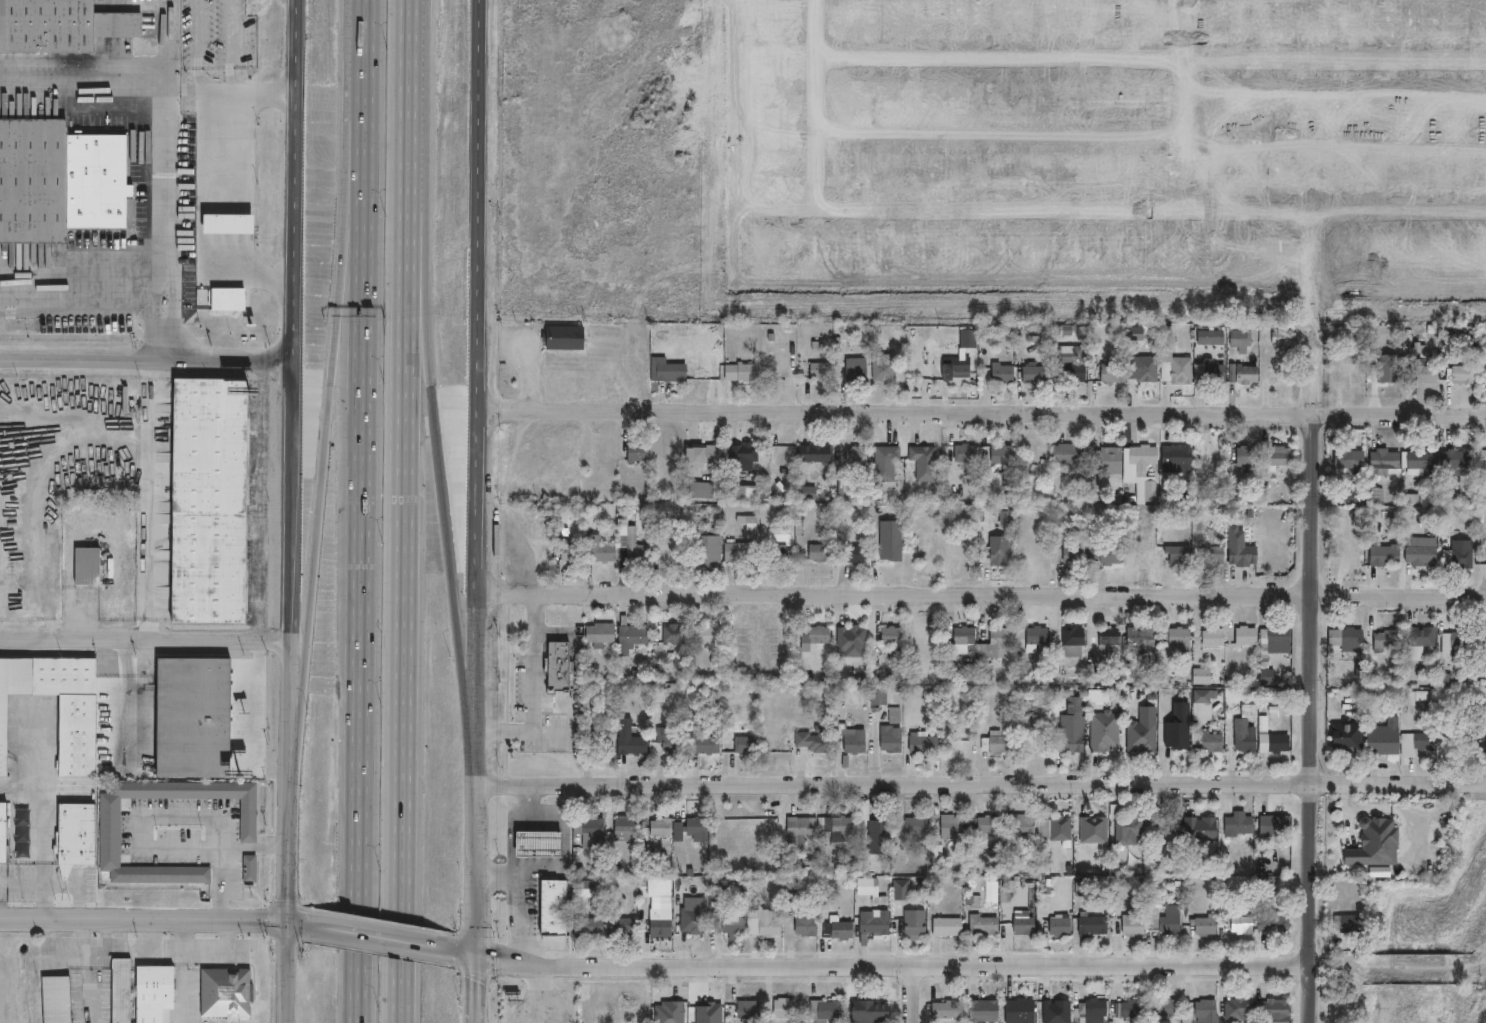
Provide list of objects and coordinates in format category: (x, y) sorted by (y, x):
road: (367, 19)
building: (60, 27)
road: (168, 39)
road: (416, 81)
road: (206, 89)
road: (168, 96)
road: (299, 145)
building: (59, 180)
road: (202, 195)
road: (80, 283)
road: (163, 324)
road: (298, 328)
building: (567, 338)
building: (969, 338)
building: (1213, 338)
building: (1241, 340)
road: (482, 360)
road: (149, 364)
building: (1076, 364)
building: (886, 366)
building: (1177, 368)
building: (957, 369)
building: (858, 370)
building: (672, 371)
building: (823, 371)
building: (743, 372)
building: (1149, 372)
building: (1212, 372)
building: (1113, 373)
building: (1281, 373)
building: (1005, 374)
building: (1035, 374)
building: (1250, 374)
building: (1393, 374)
building: (1429, 374)
building: (1352, 375)
building: (1463, 375)
road: (983, 411)
road: (281, 412)
road: (330, 418)
road: (438, 442)
building: (601, 452)
building: (640, 452)
building: (746, 453)
building: (967, 453)
building: (1071, 453)
building: (817, 454)
building: (707, 455)
building: (858, 455)
building: (1005, 455)
building: (1249, 455)
building: (1283, 456)
building: (1179, 459)
building: (1352, 459)
building: (1456, 459)
building: (1107, 461)
building: (1424, 462)
building: (888, 463)
building: (926, 463)
building: (1387, 463)
building: (1143, 472)
road: (35, 489)
building: (703, 490)
building: (809, 493)
building: (1376, 495)
building: (1354, 496)
building: (207, 501)
road: (264, 501)
road: (148, 511)
road: (364, 530)
building: (890, 540)
building: (637, 548)
building: (671, 548)
building: (706, 549)
building: (570, 550)
building: (600, 550)
building: (742, 552)
building: (781, 553)
building: (821, 553)
building: (1422, 553)
building: (858, 554)
building: (1108, 554)
building: (1000, 555)
building: (1215, 555)
building: (1246, 555)
building: (1076, 556)
building: (1388, 556)
building: (1182, 557)
building: (1459, 557)
building: (85, 566)
road: (292, 581)
road: (411, 593)
road: (981, 593)
building: (7, 597)
building: (1484, 631)
building: (605, 634)
building: (675, 635)
building: (632, 636)
building: (894, 636)
building: (967, 636)
building: (1039, 636)
building: (1249, 636)
building: (708, 637)
building: (857, 637)
building: (1111, 637)
building: (1142, 637)
building: (1277, 637)
building: (817, 638)
building: (1179, 638)
building: (1215, 638)
road: (144, 639)
building: (1350, 640)
building: (1389, 641)
building: (1075, 643)
building: (1422, 643)
building: (1460, 643)
building: (999, 645)
building: (561, 668)
building: (662, 674)
building: (1204, 677)
building: (1269, 677)
road: (532, 686)
road: (131, 691)
building: (840, 694)
road: (263, 696)
building: (1203, 696)
building: (879, 699)
building: (1152, 714)
building: (896, 716)
building: (192, 718)
road: (1311, 718)
building: (1074, 722)
building: (1106, 732)
building: (1179, 734)
building: (75, 736)
building: (1042, 736)
building: (852, 738)
building: (632, 739)
building: (1351, 739)
building: (815, 740)
building: (893, 740)
building: (1147, 740)
building: (1385, 740)
building: (672, 741)
building: (1249, 741)
building: (1482, 741)
building: (707, 742)
building: (1214, 742)
building: (999, 743)
building: (603, 744)
building: (926, 744)
building: (1070, 744)
building: (1281, 744)
building: (1421, 744)
building: (746, 745)
road: (40, 746)
road: (980, 783)
road: (20, 791)
building: (865, 811)
road: (137, 816)
building: (107, 817)
road: (514, 822)
building: (1023, 825)
building: (1172, 825)
building: (1276, 825)
building: (626, 826)
building: (837, 827)
building: (1240, 827)
building: (662, 828)
building: (954, 828)
building: (989, 828)
building: (1063, 828)
building: (592, 829)
building: (700, 829)
building: (801, 829)
building: (915, 829)
building: (1205, 829)
building: (1131, 830)
building: (1095, 831)
building: (2, 833)
building: (23, 833)
building: (881, 836)
building: (73, 838)
road: (477, 838)
building: (1377, 843)
building: (539, 844)
gas station: (539, 844)
road: (254, 848)
road: (563, 854)
road: (41, 855)
road: (288, 859)
building: (247, 869)
road: (21, 882)
road: (81, 882)
building: (1269, 883)
road: (221, 884)
building: (794, 887)
building: (664, 889)
building: (872, 889)
building: (901, 889)
building: (590, 890)
building: (727, 891)
road: (514, 900)
building: (619, 903)
building: (552, 907)
road: (143, 919)
traffic signals: (287, 920)
road: (299, 921)
building: (695, 921)
building: (807, 922)
building: (1169, 922)
building: (1275, 923)
building: (916, 924)
building: (1026, 924)
building: (1244, 924)
building: (764, 925)
building: (875, 926)
building: (983, 926)
building: (1093, 926)
building: (1350, 926)
building: (1134, 927)
building: (1209, 927)
building: (590, 928)
building: (625, 928)
building: (661, 928)
building: (735, 928)
building: (949, 928)
building: (1061, 928)
building: (840, 931)
road: (385, 936)
road: (108, 946)
road: (203, 946)
road: (48, 952)
road: (468, 952)
traffic signals: (479, 955)
road: (893, 966)
road: (86, 971)
road: (287, 971)
road: (180, 983)
building: (153, 986)
road: (478, 989)
building: (119, 990)
building: (224, 992)
road: (911, 994)
road: (537, 996)
building: (54, 999)
building: (1171, 1006)
building: (1132, 1008)
building: (1240, 1008)
building: (749, 1009)
building: (785, 1009)
building: (871, 1009)
building: (950, 1009)
building: (985, 1009)
building: (1097, 1009)
building: (1280, 1009)
building: (827, 1010)
building: (1021, 1011)
building: (1062, 1011)
building: (1208, 1011)
building: (671, 1013)

